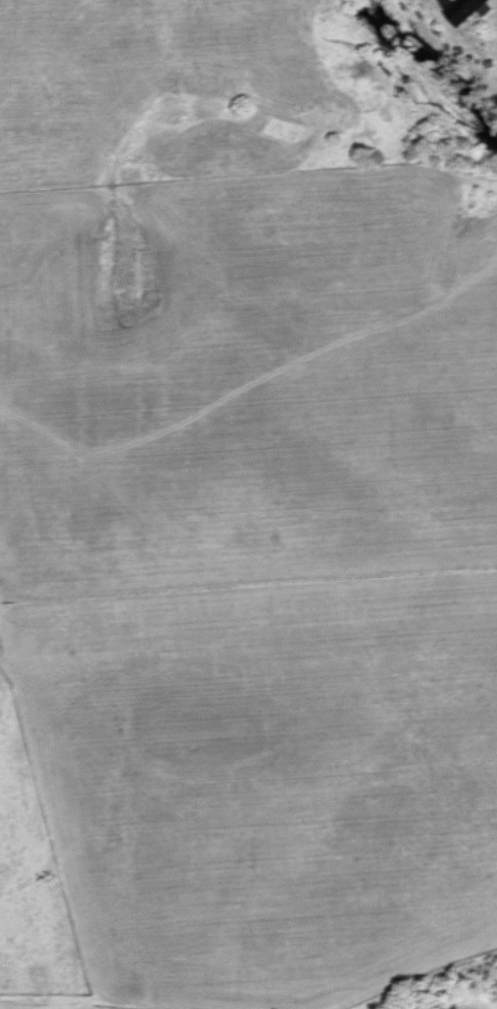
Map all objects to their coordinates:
road: (442, 0)
building: (461, 9)

